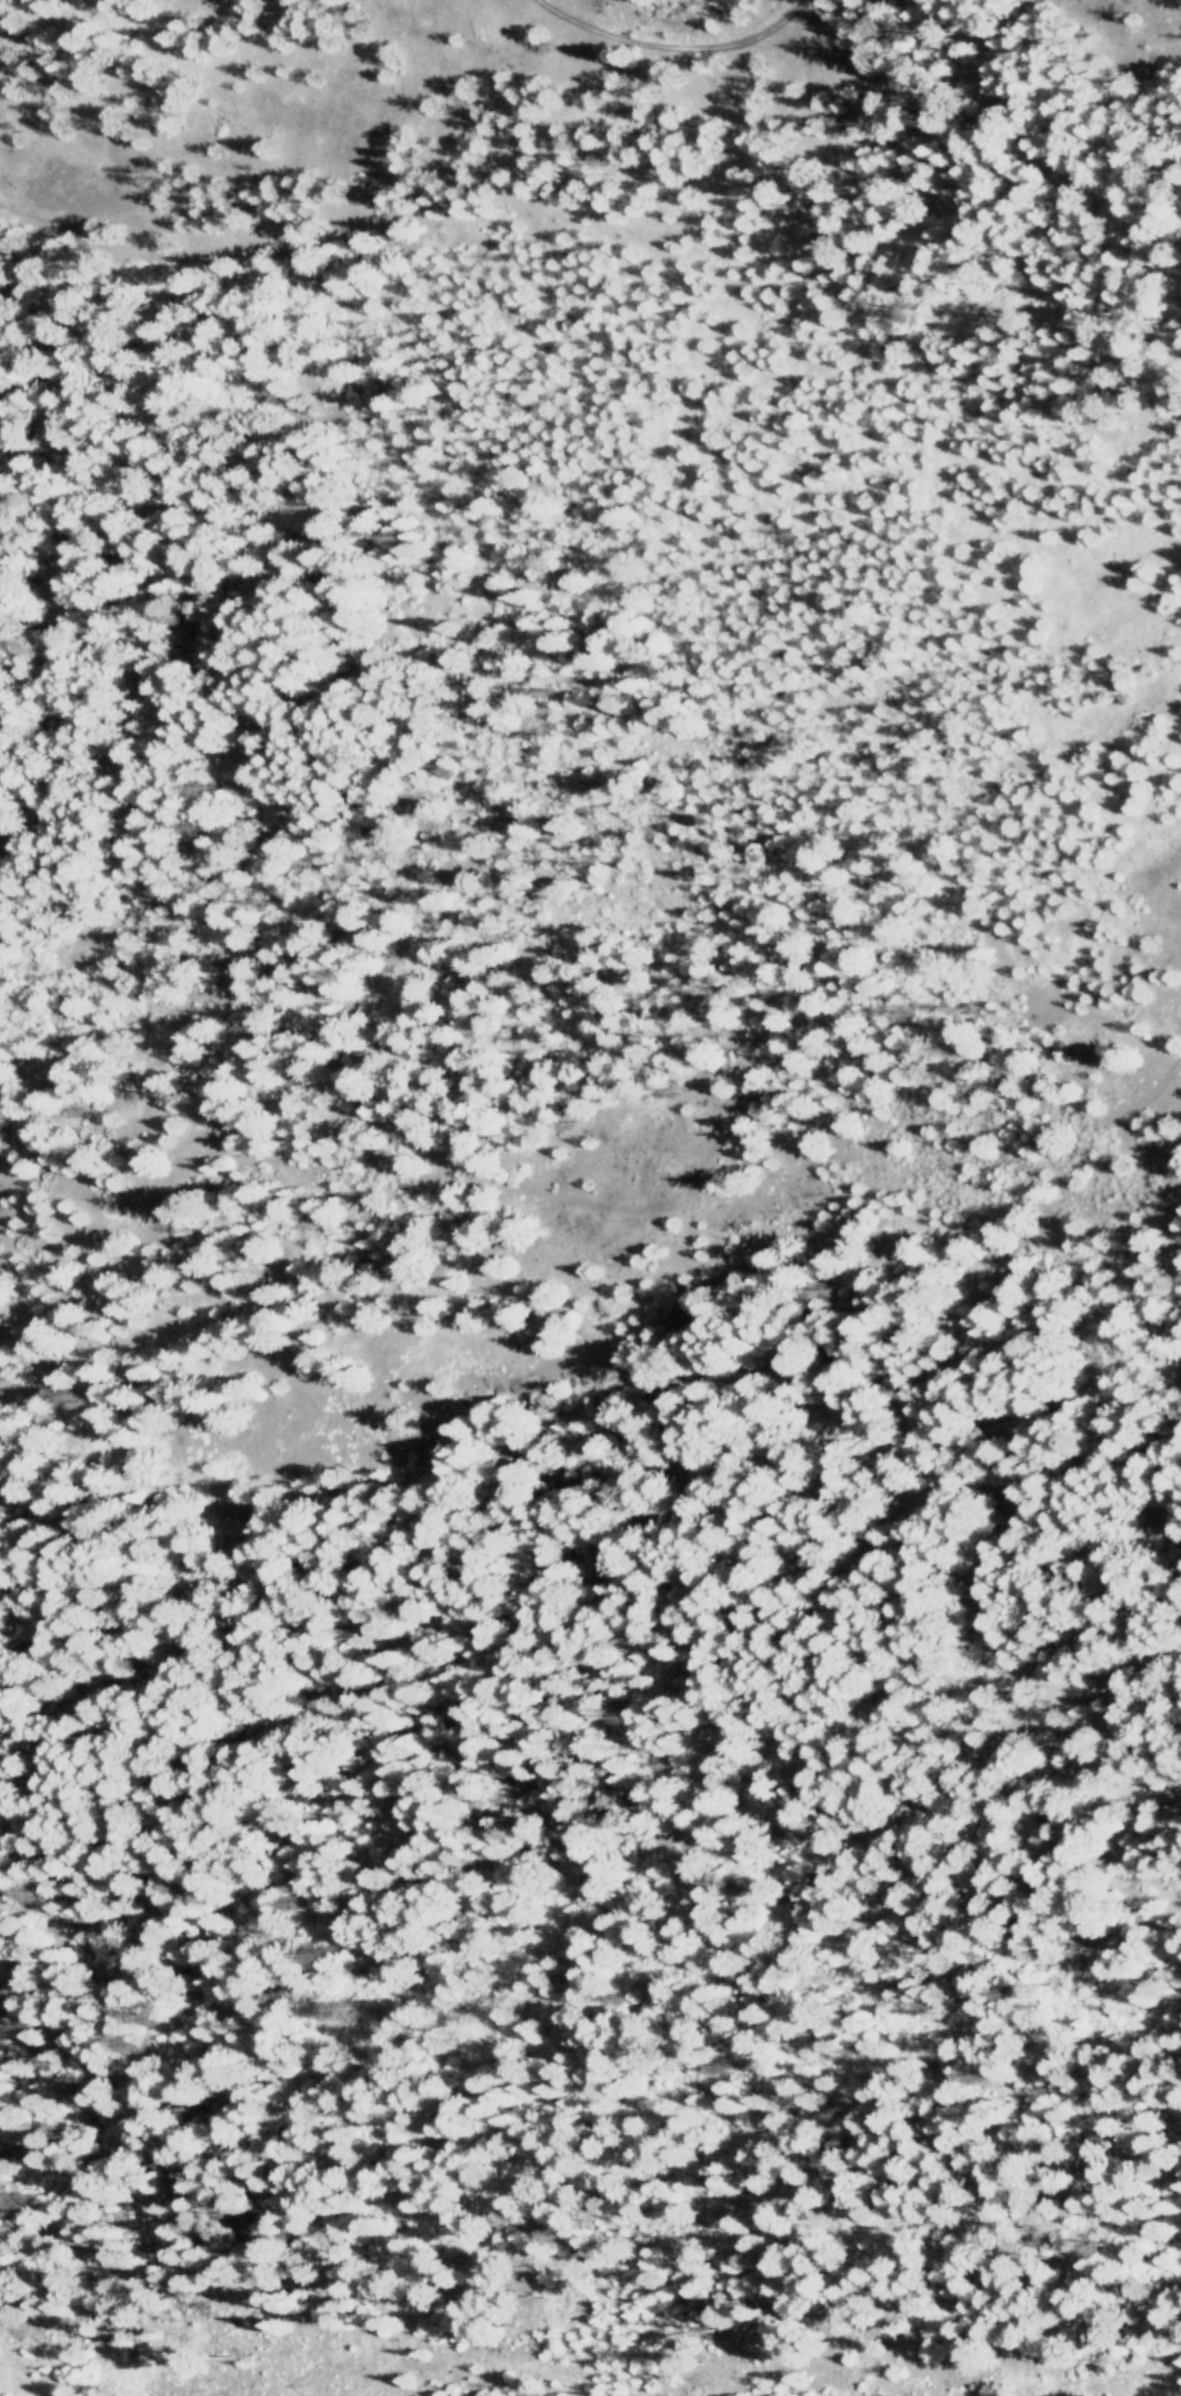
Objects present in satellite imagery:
road: (673, 46)
road: (607, 1204)

